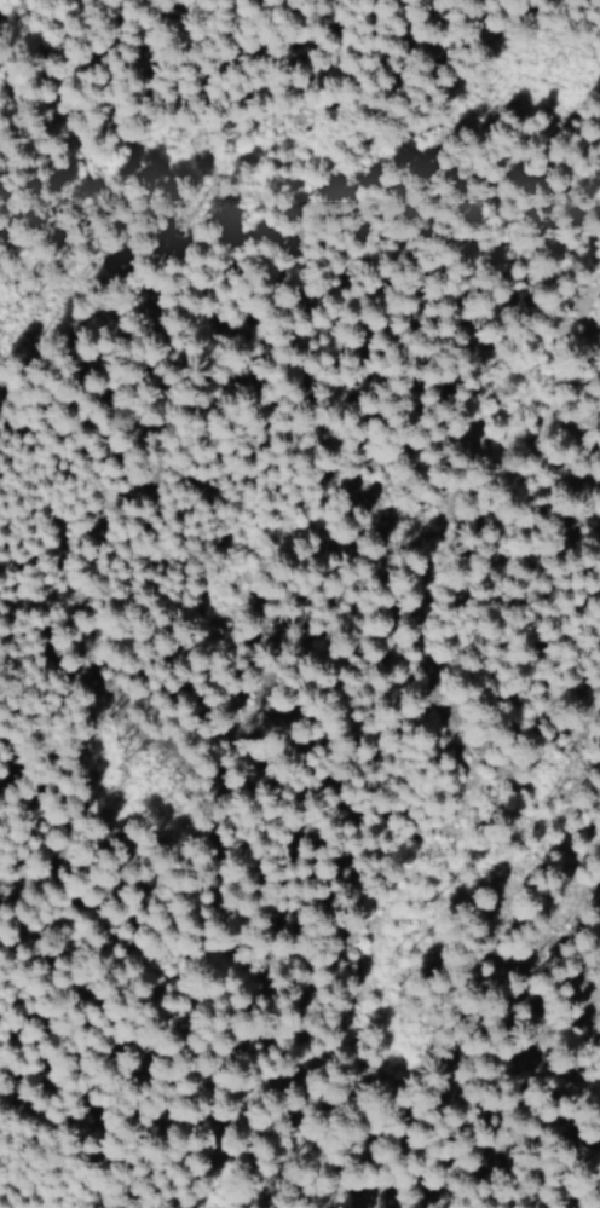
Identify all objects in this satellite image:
road: (560, 498)
road: (485, 956)

